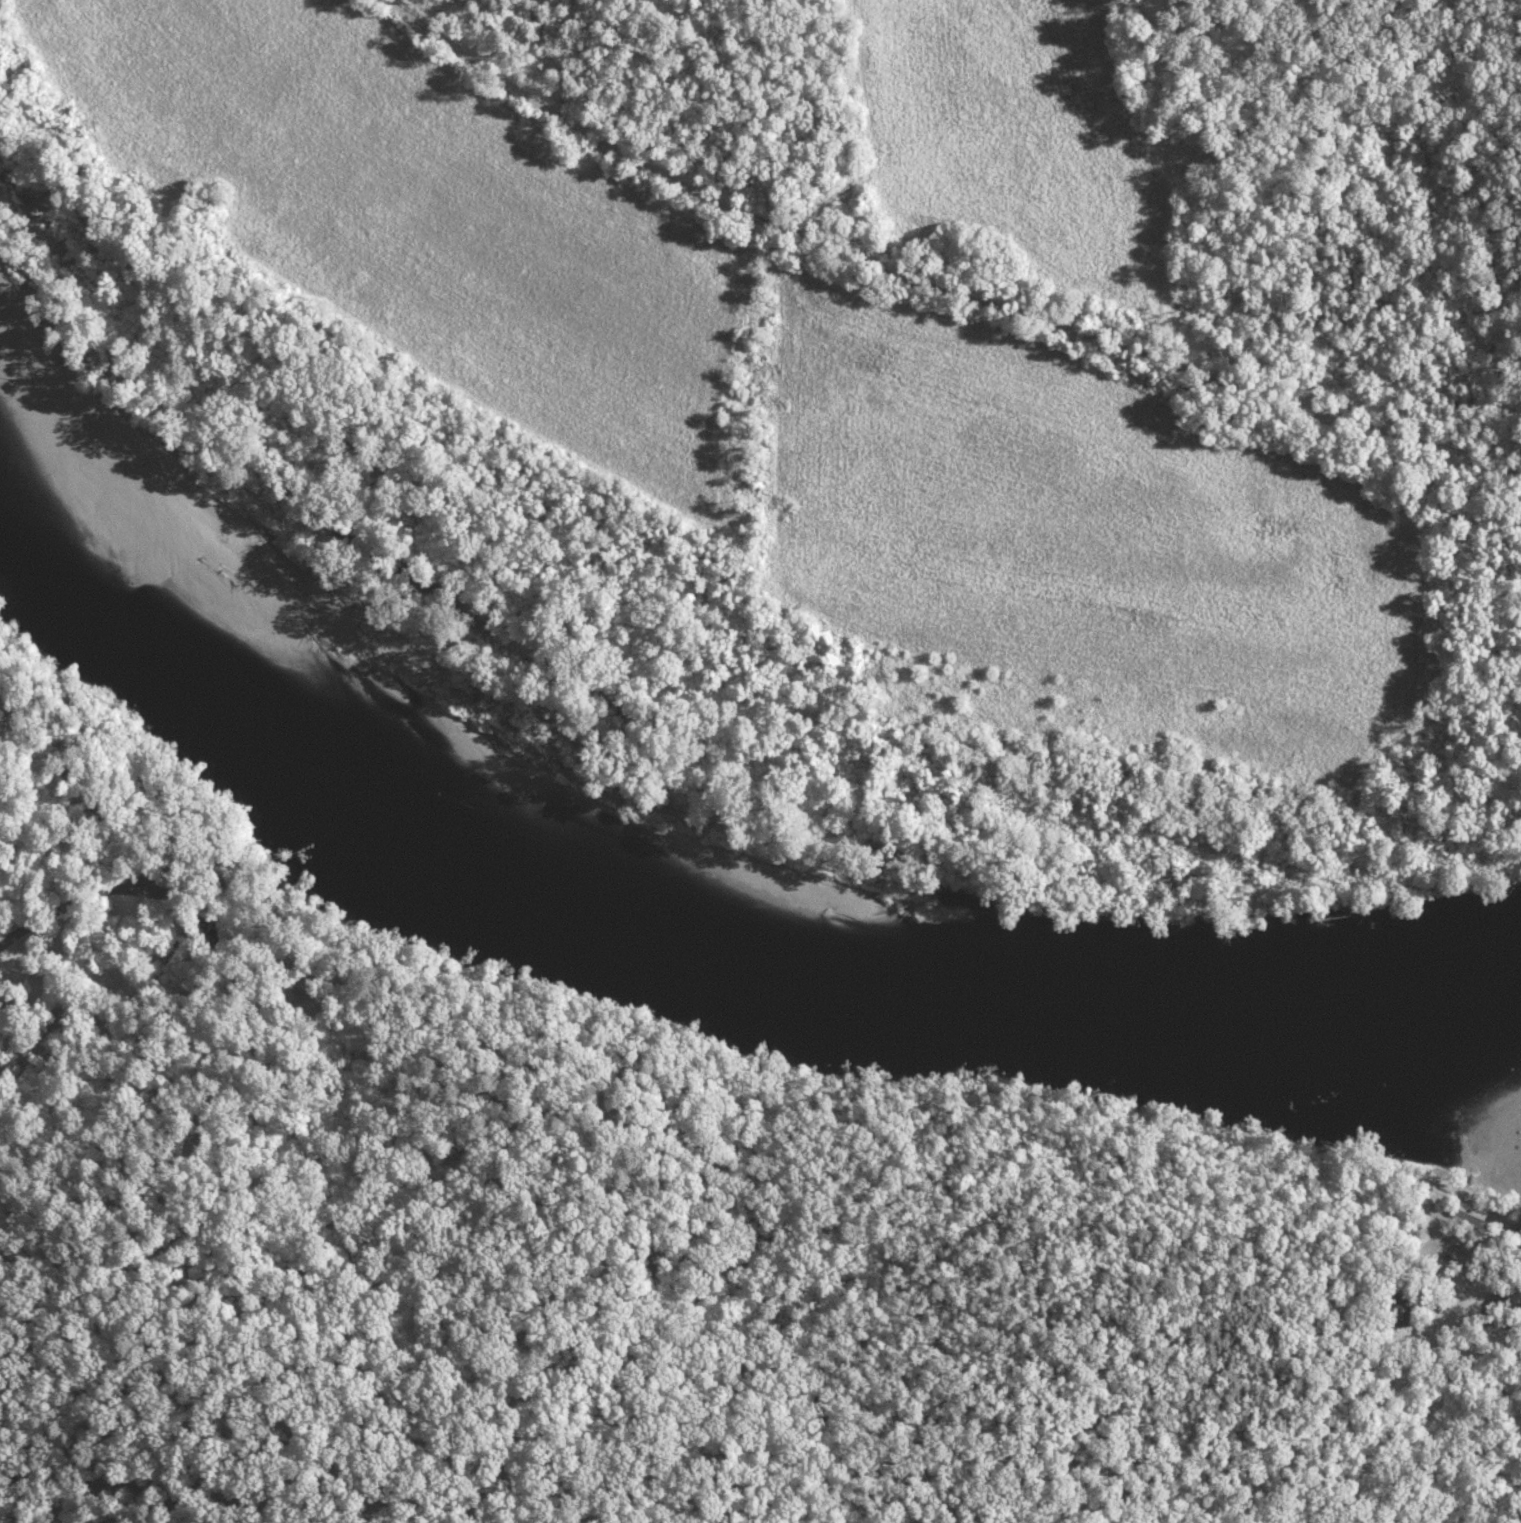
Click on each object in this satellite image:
road: (947, 263)
river: (43, 567)
road: (206, 863)
road: (56, 900)
road: (272, 904)
river: (692, 938)
road: (119, 1013)
park: (564, 1132)
road: (1356, 1415)

